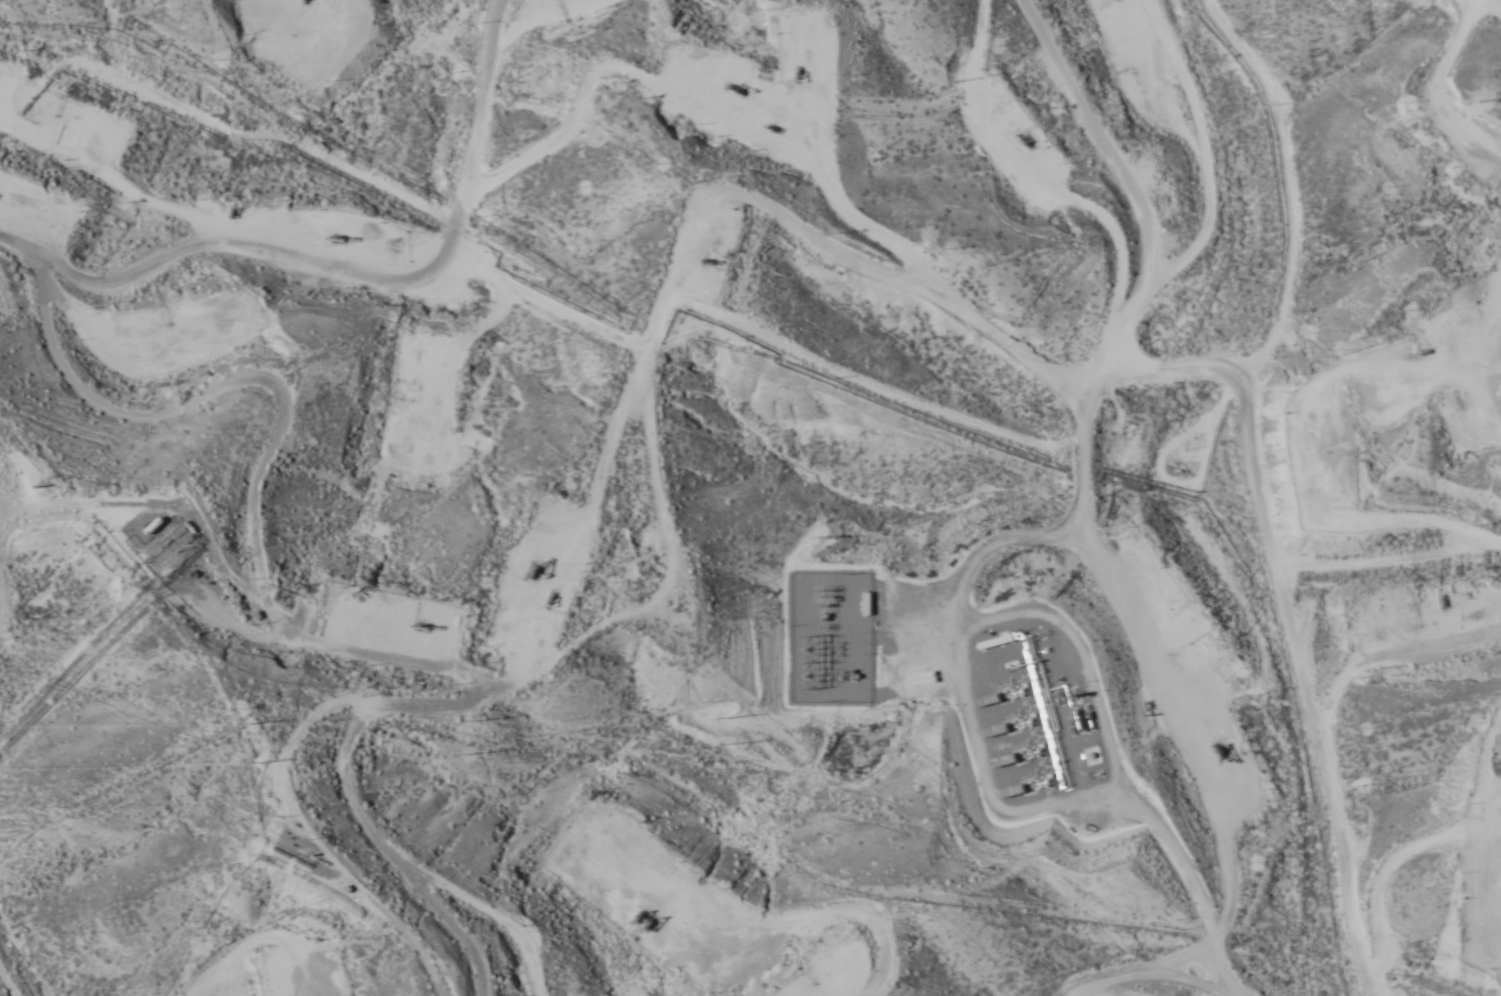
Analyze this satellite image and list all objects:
road: (355, 254)
road: (699, 272)
road: (1398, 340)
road: (1169, 531)
road: (1334, 676)
road: (74, 851)
road: (343, 879)

